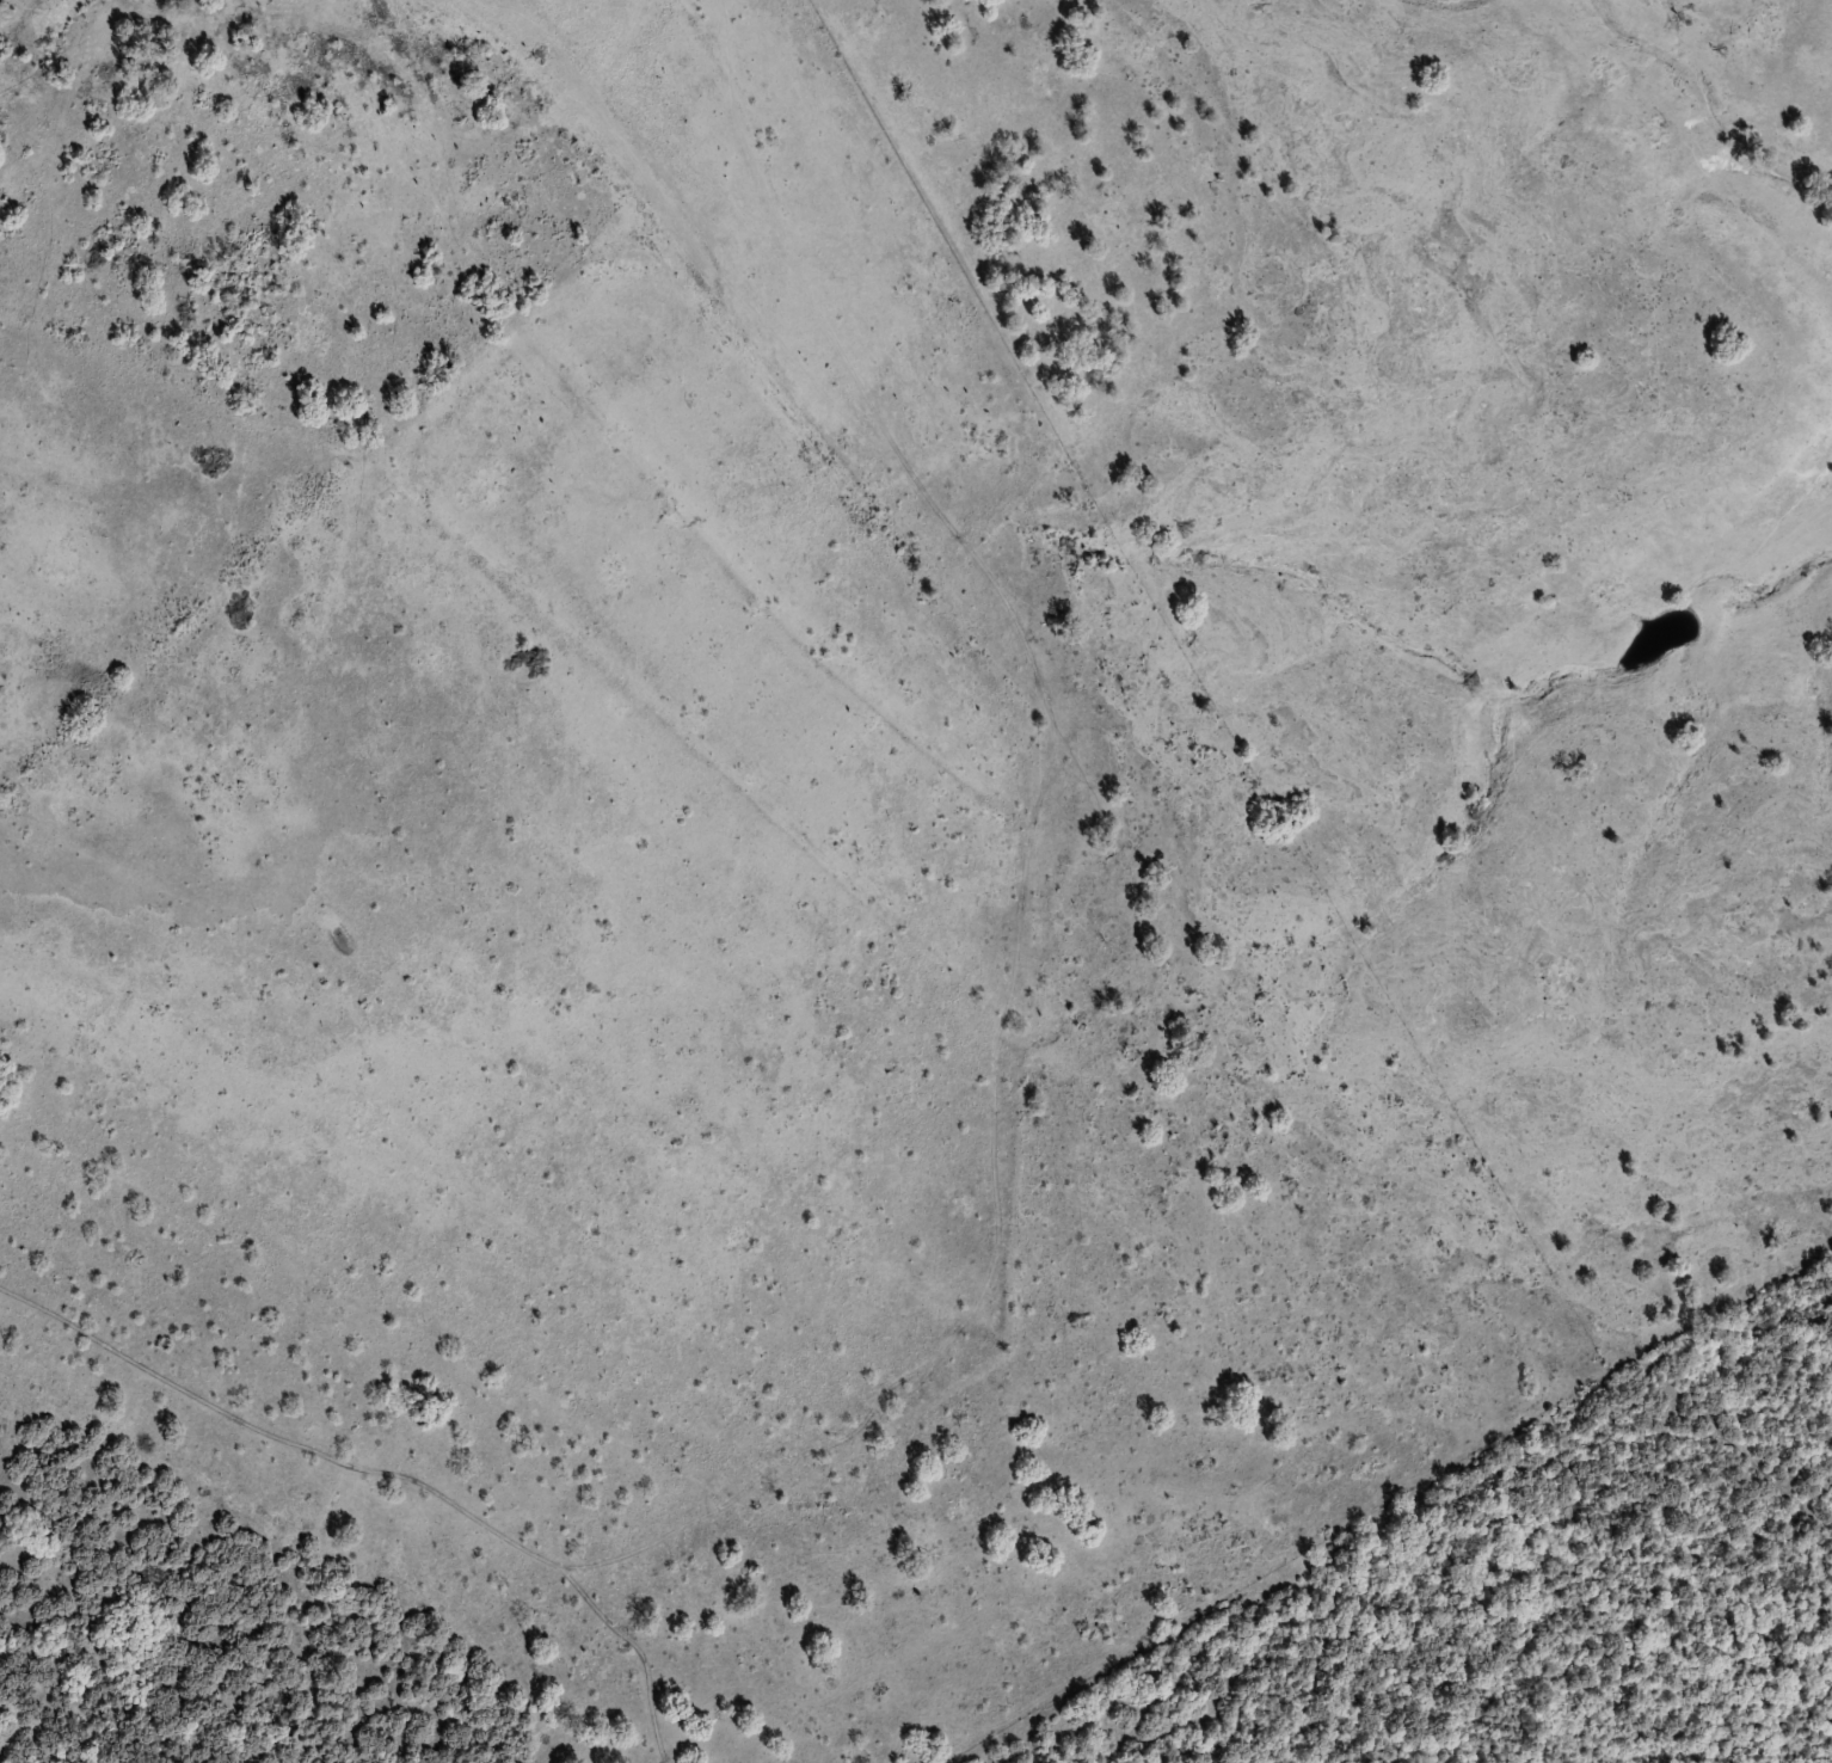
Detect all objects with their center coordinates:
road: (1398, 178)

